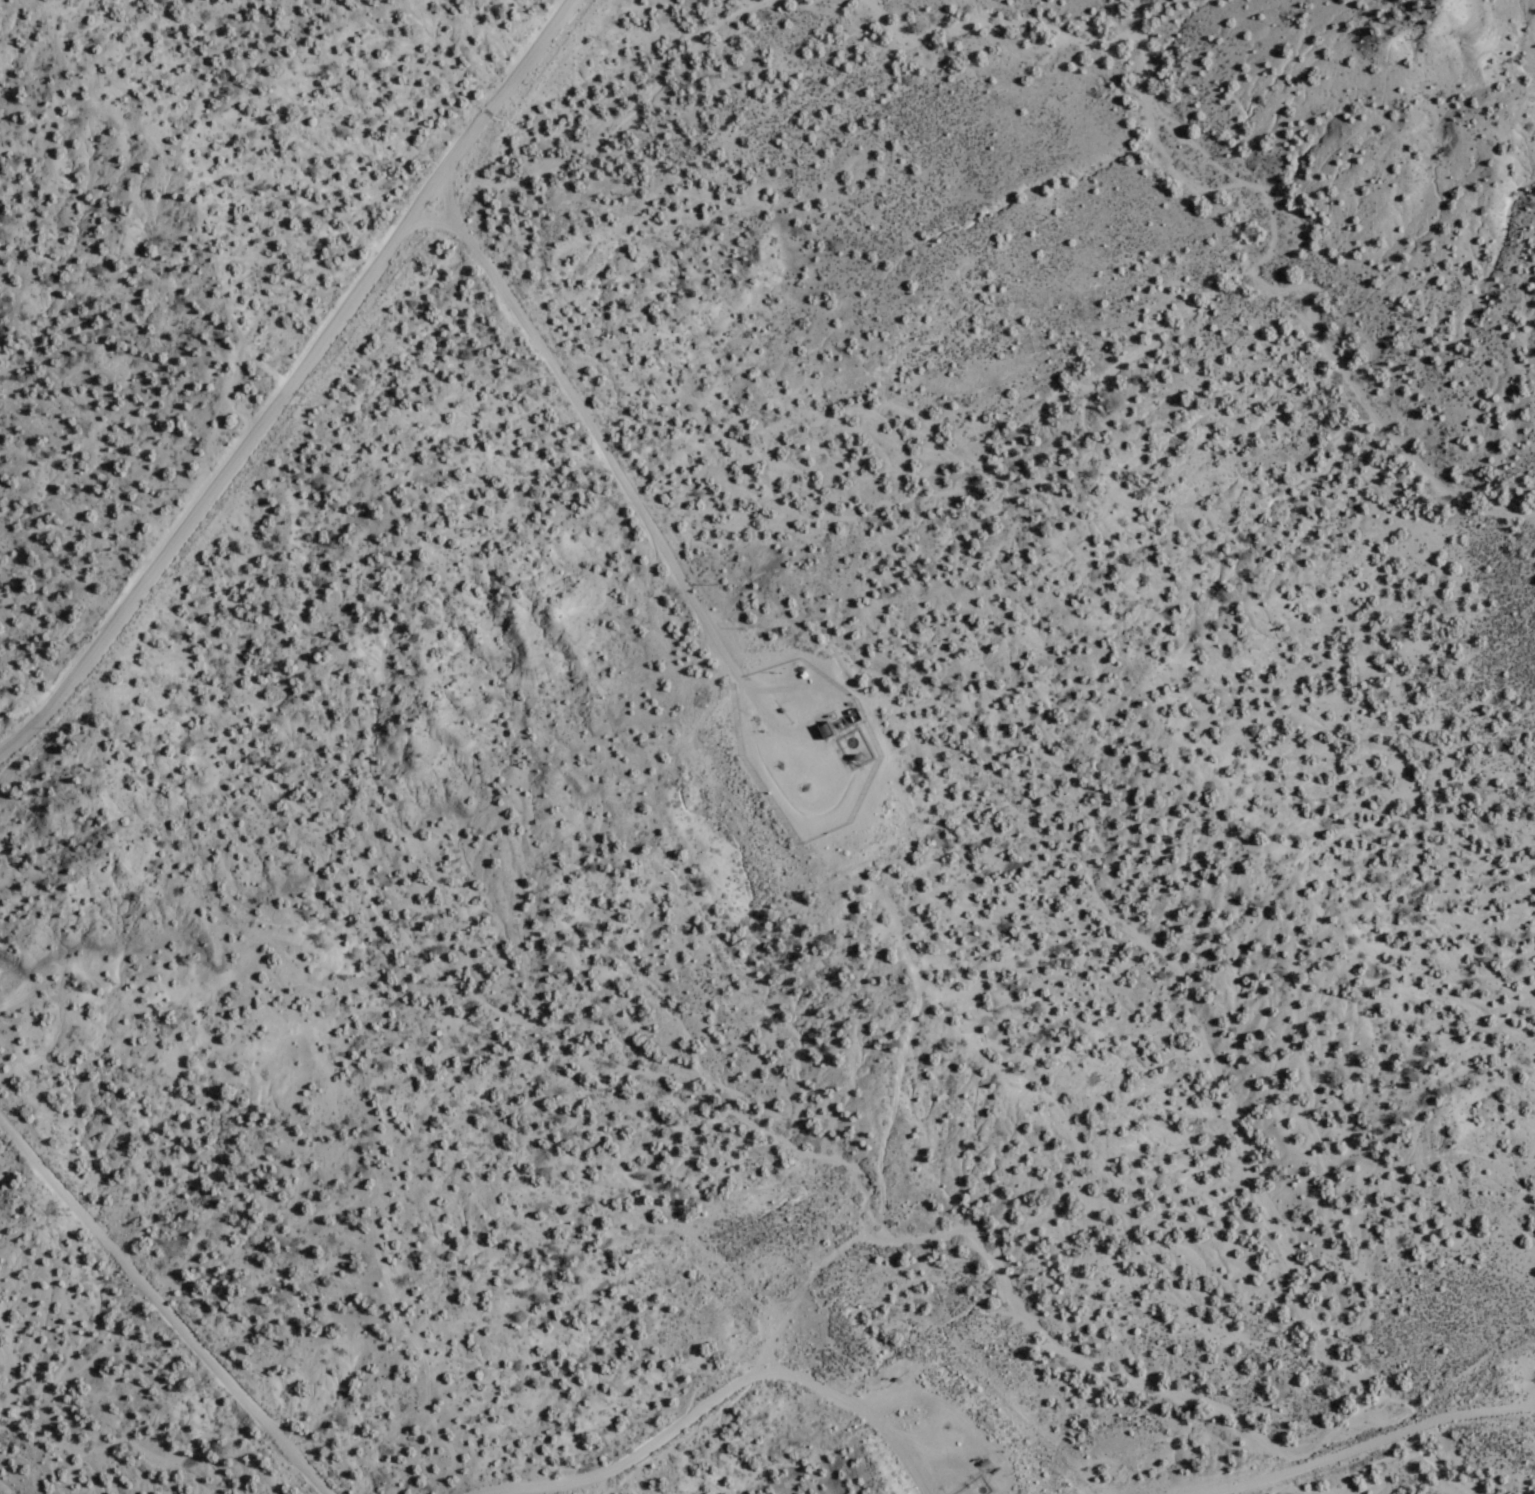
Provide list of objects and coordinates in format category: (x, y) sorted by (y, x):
road: (437, 190)
road: (286, 376)
road: (598, 457)
road: (854, 1228)
road: (158, 1311)
road: (710, 1391)
road: (1522, 1408)
road: (940, 1413)
road: (1362, 1447)

